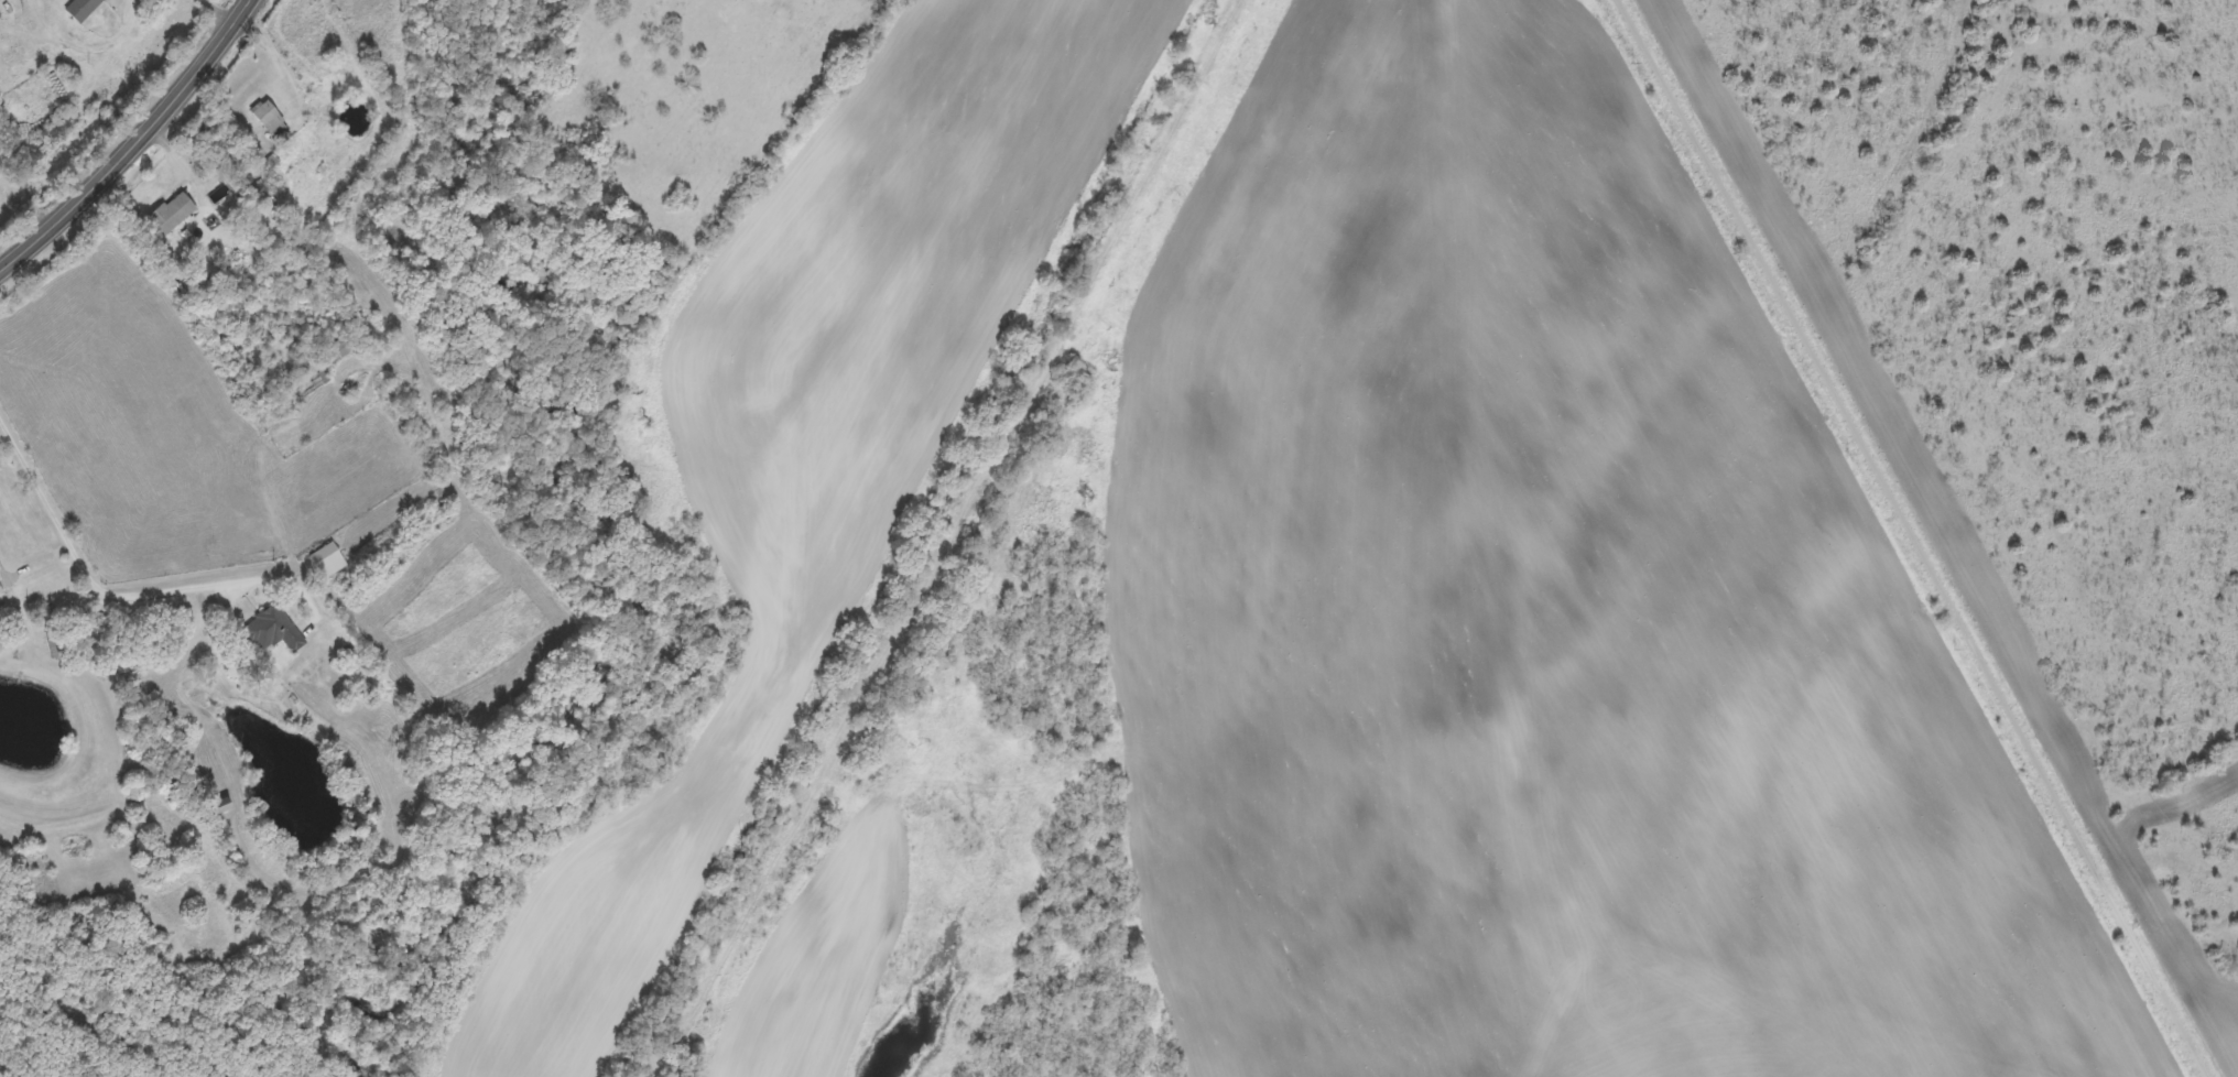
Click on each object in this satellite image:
building: (83, 10)
building: (270, 120)
road: (133, 143)
building: (171, 216)
building: (338, 351)
railway: (945, 536)
road: (1919, 537)
building: (328, 562)
building: (1, 591)
building: (272, 632)

